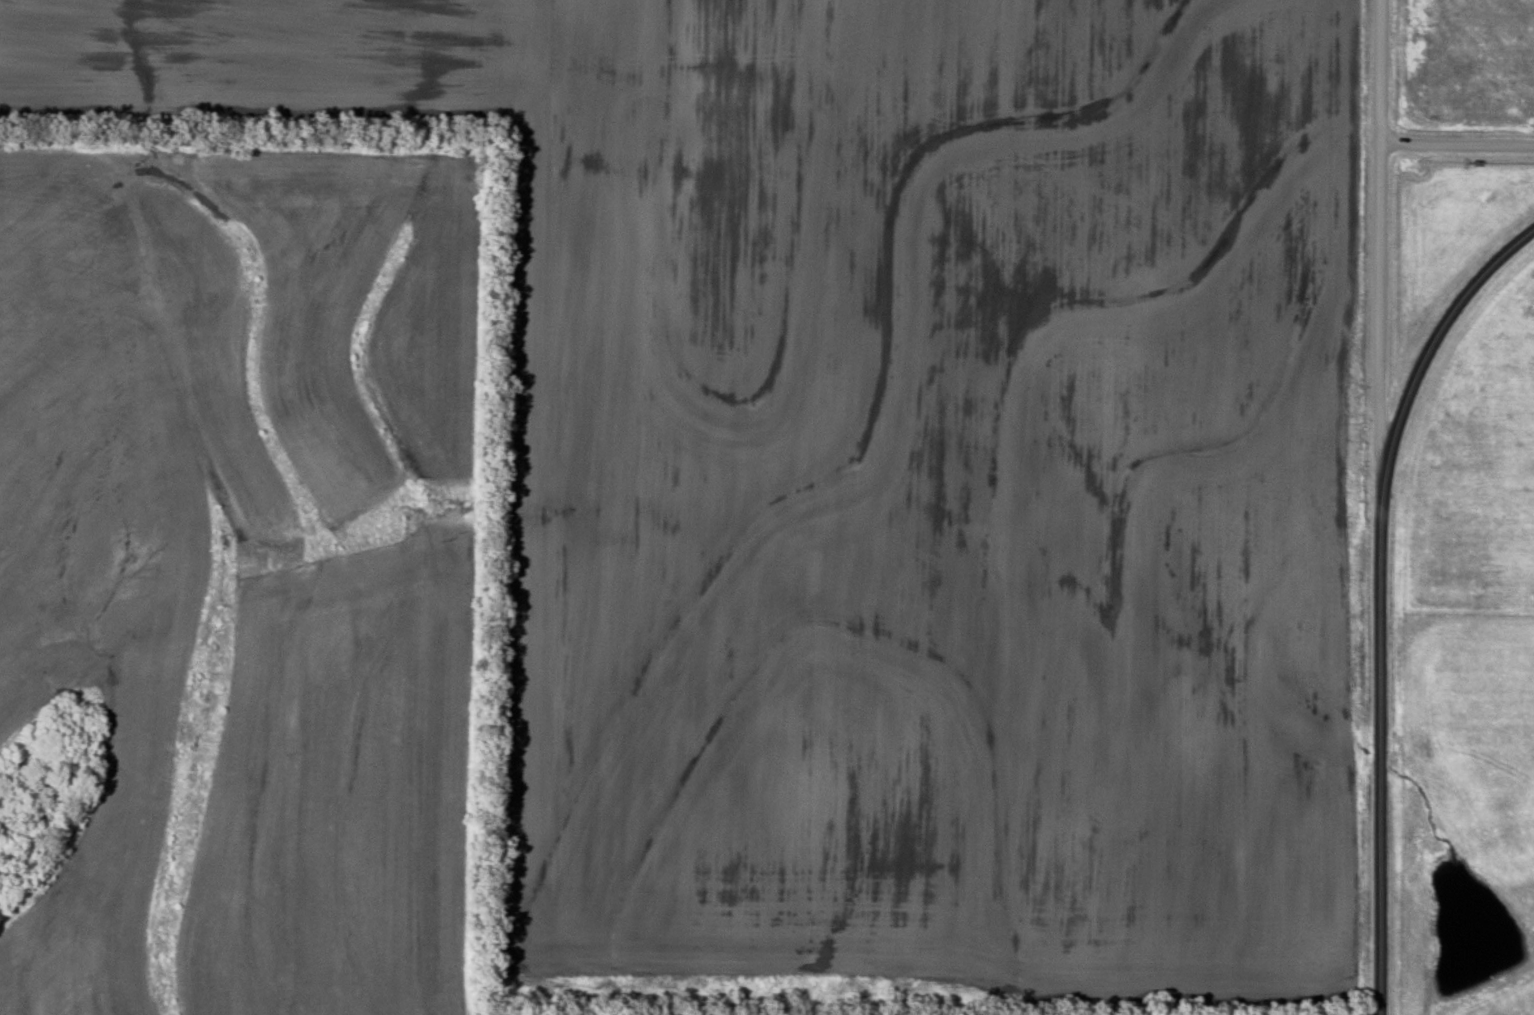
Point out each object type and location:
road: (1455, 145)
road: (1376, 242)
road: (1433, 340)
crop: (887, 460)
road: (1379, 749)

